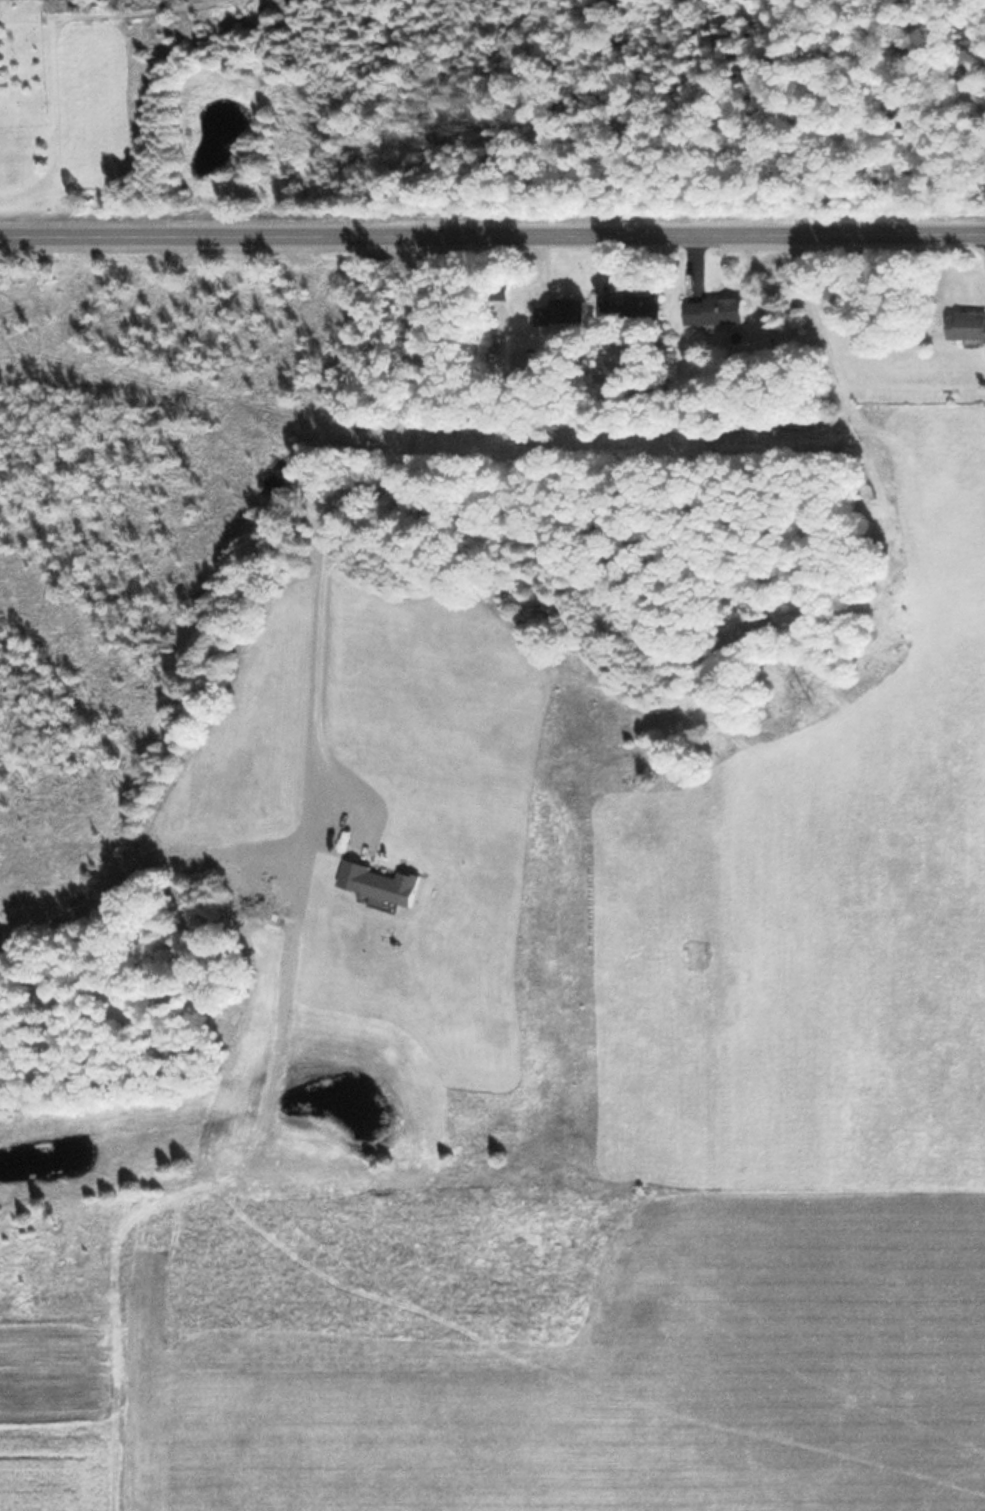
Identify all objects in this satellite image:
road: (492, 235)
building: (641, 305)
building: (713, 310)
building: (558, 312)
building: (966, 326)

